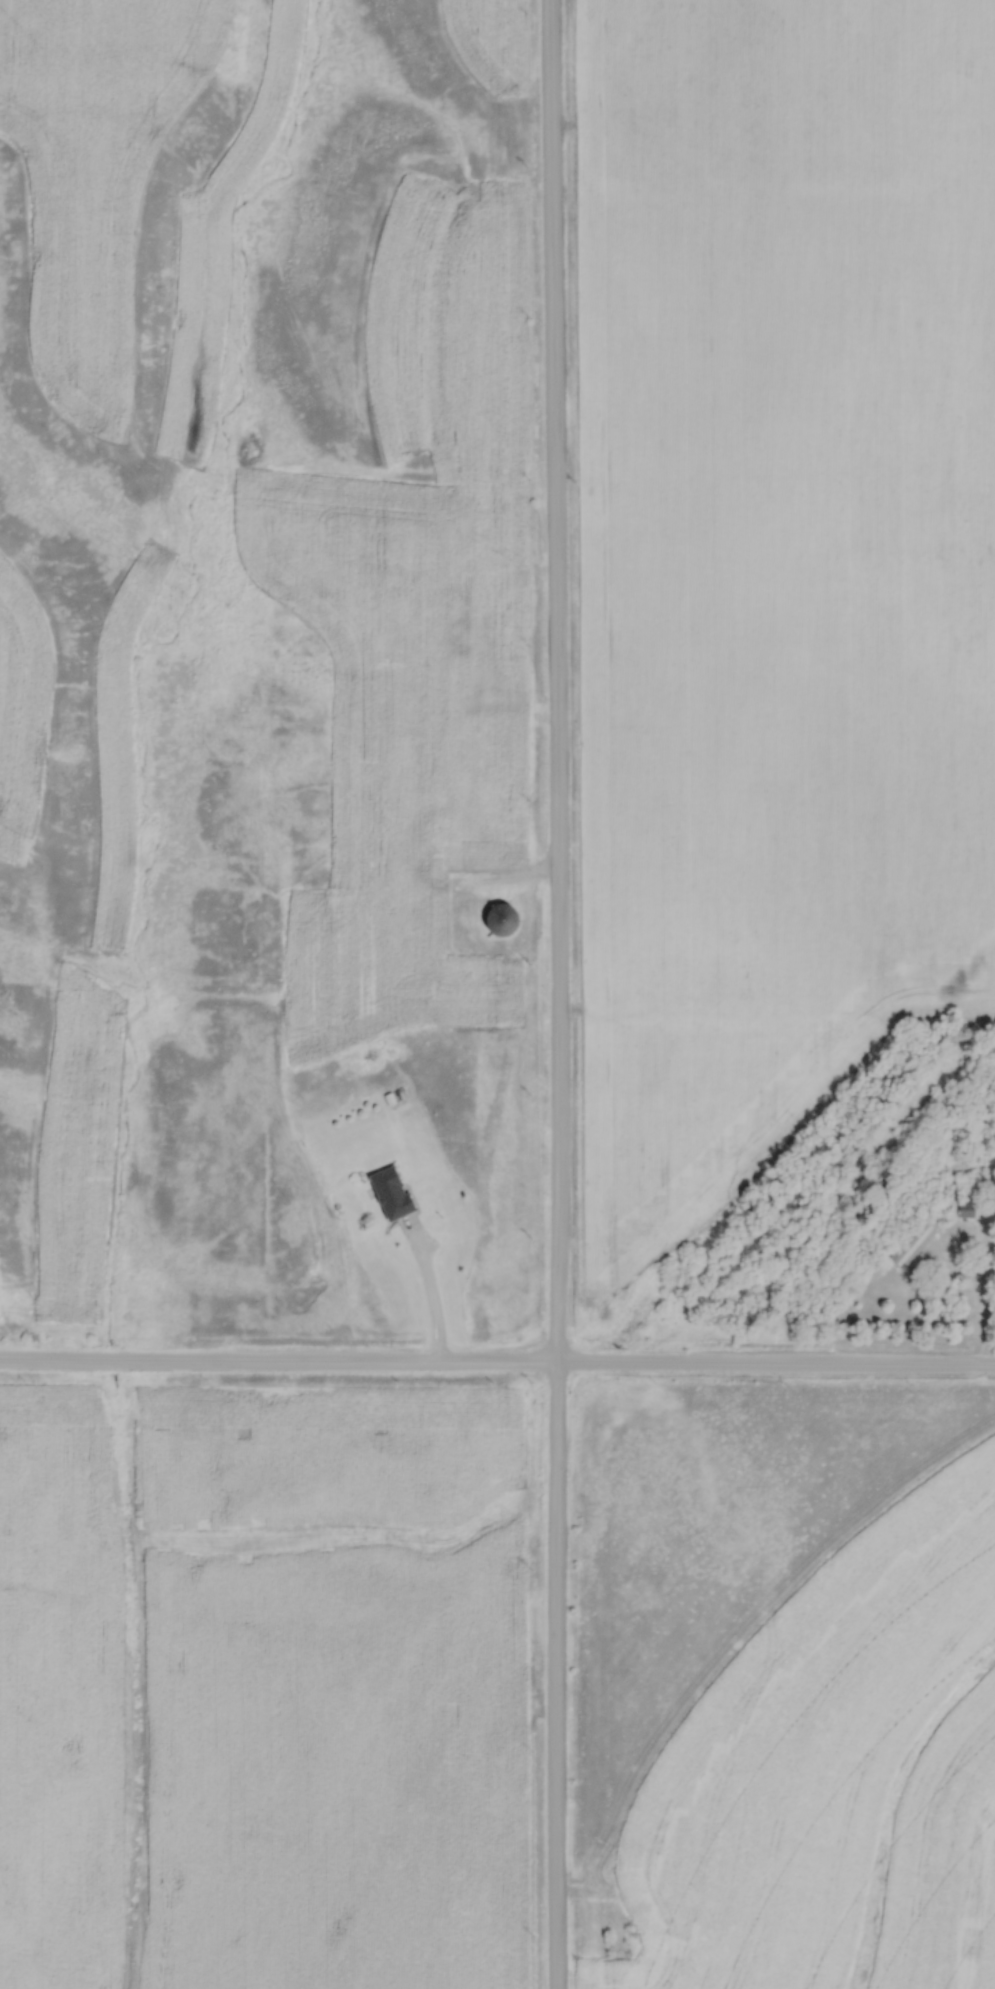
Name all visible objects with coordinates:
building: (491, 555)
building: (500, 919)
road: (556, 994)
building: (390, 1193)
building: (966, 1209)
building: (912, 1242)
road: (982, 1298)
road: (497, 1365)

